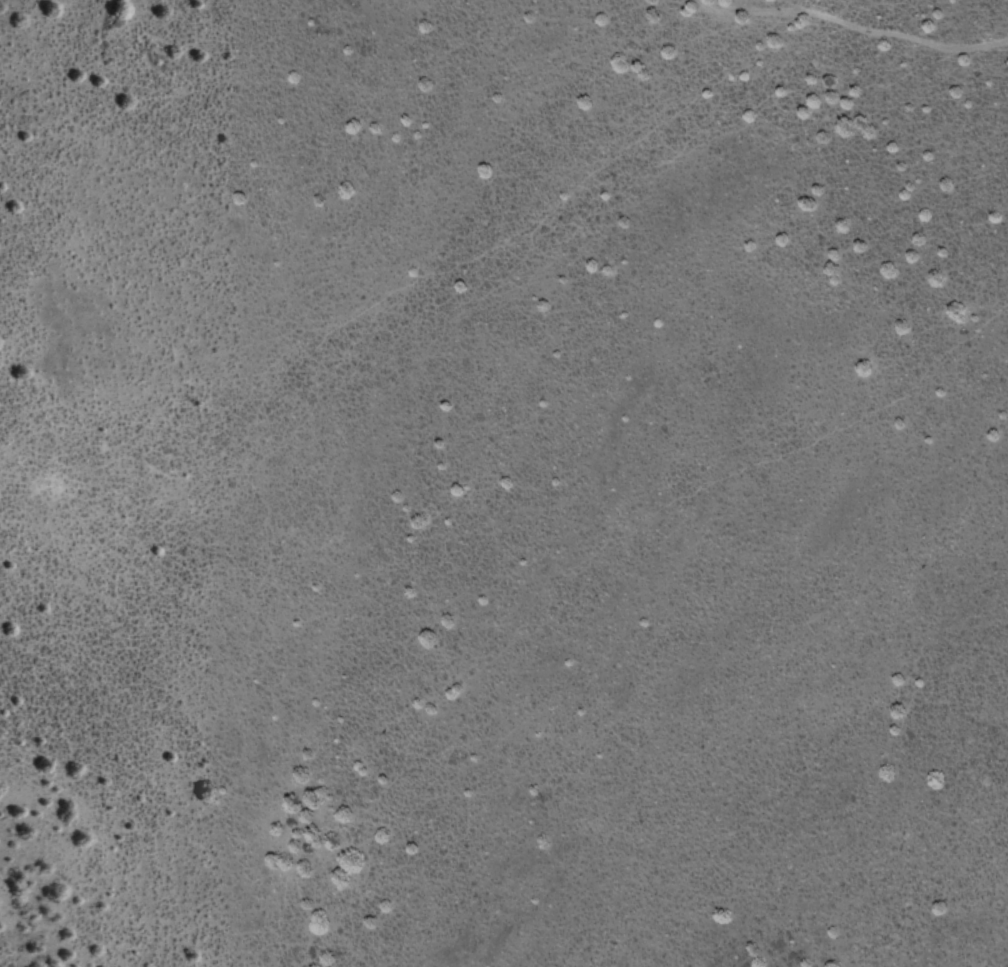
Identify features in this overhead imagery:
road: (854, 18)

